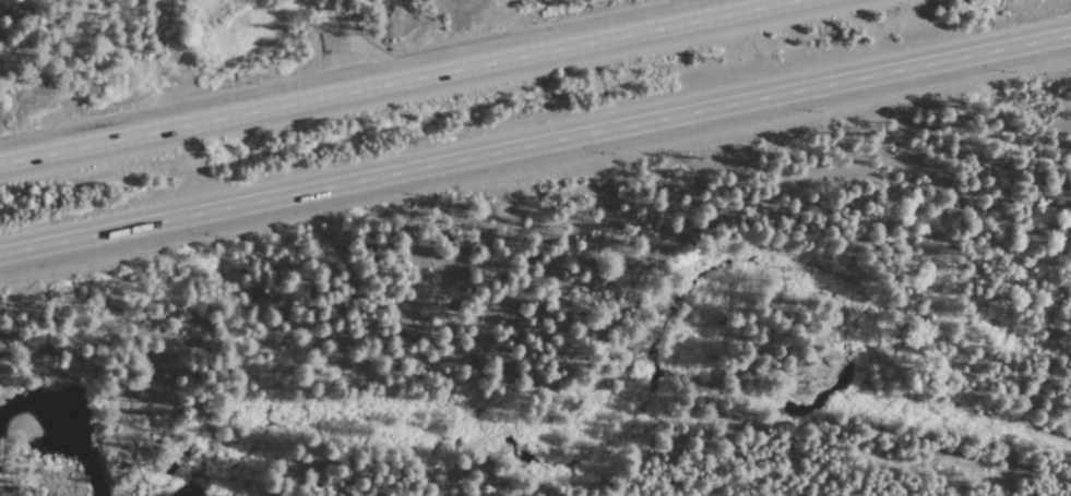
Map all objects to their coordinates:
road: (394, 81)
road: (535, 147)
road: (197, 168)
river: (674, 328)
river: (237, 432)
river: (10, 433)
river: (1020, 437)
river: (78, 440)

